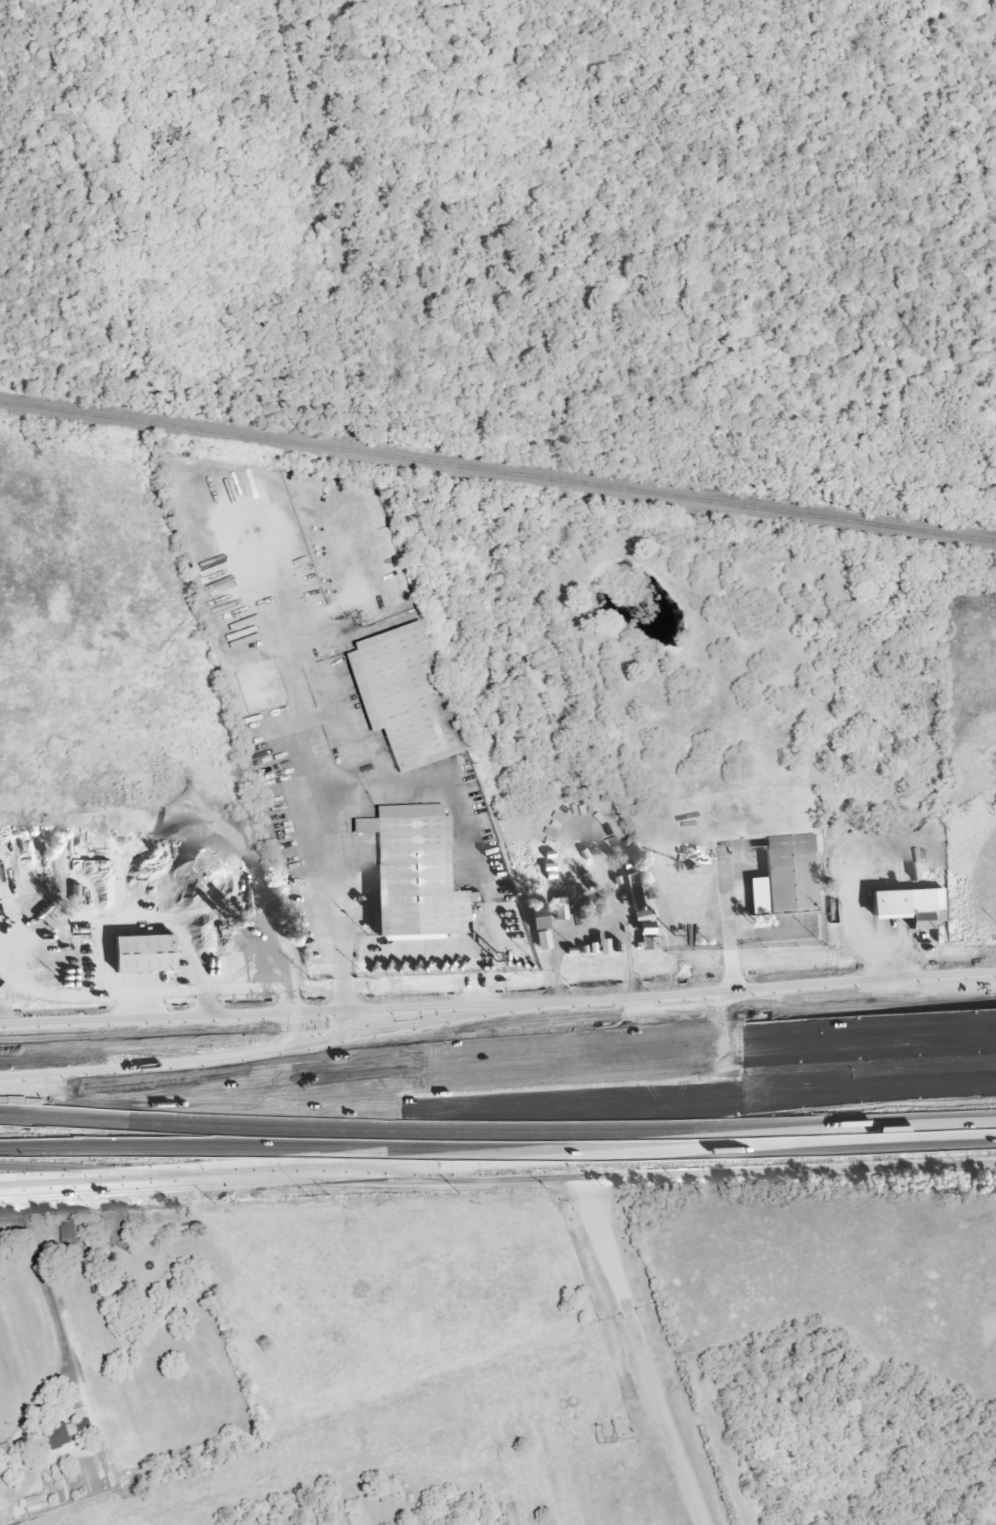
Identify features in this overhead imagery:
railway: (497, 471)
building: (394, 692)
road: (450, 791)
road: (334, 795)
road: (310, 810)
building: (552, 845)
building: (409, 868)
building: (790, 872)
building: (639, 892)
building: (759, 895)
building: (905, 902)
building: (581, 916)
building: (544, 918)
building: (649, 922)
building: (920, 924)
road: (591, 930)
road: (730, 931)
building: (547, 940)
building: (142, 953)
road: (672, 1001)
road: (174, 1023)
road: (664, 1060)
road: (166, 1074)
road: (927, 1074)
road: (166, 1089)
road: (430, 1108)
road: (527, 1131)
road: (594, 1153)
road: (97, 1182)
building: (69, 1233)
road: (634, 1341)
building: (80, 1427)
building: (57, 1436)
building: (34, 1503)

